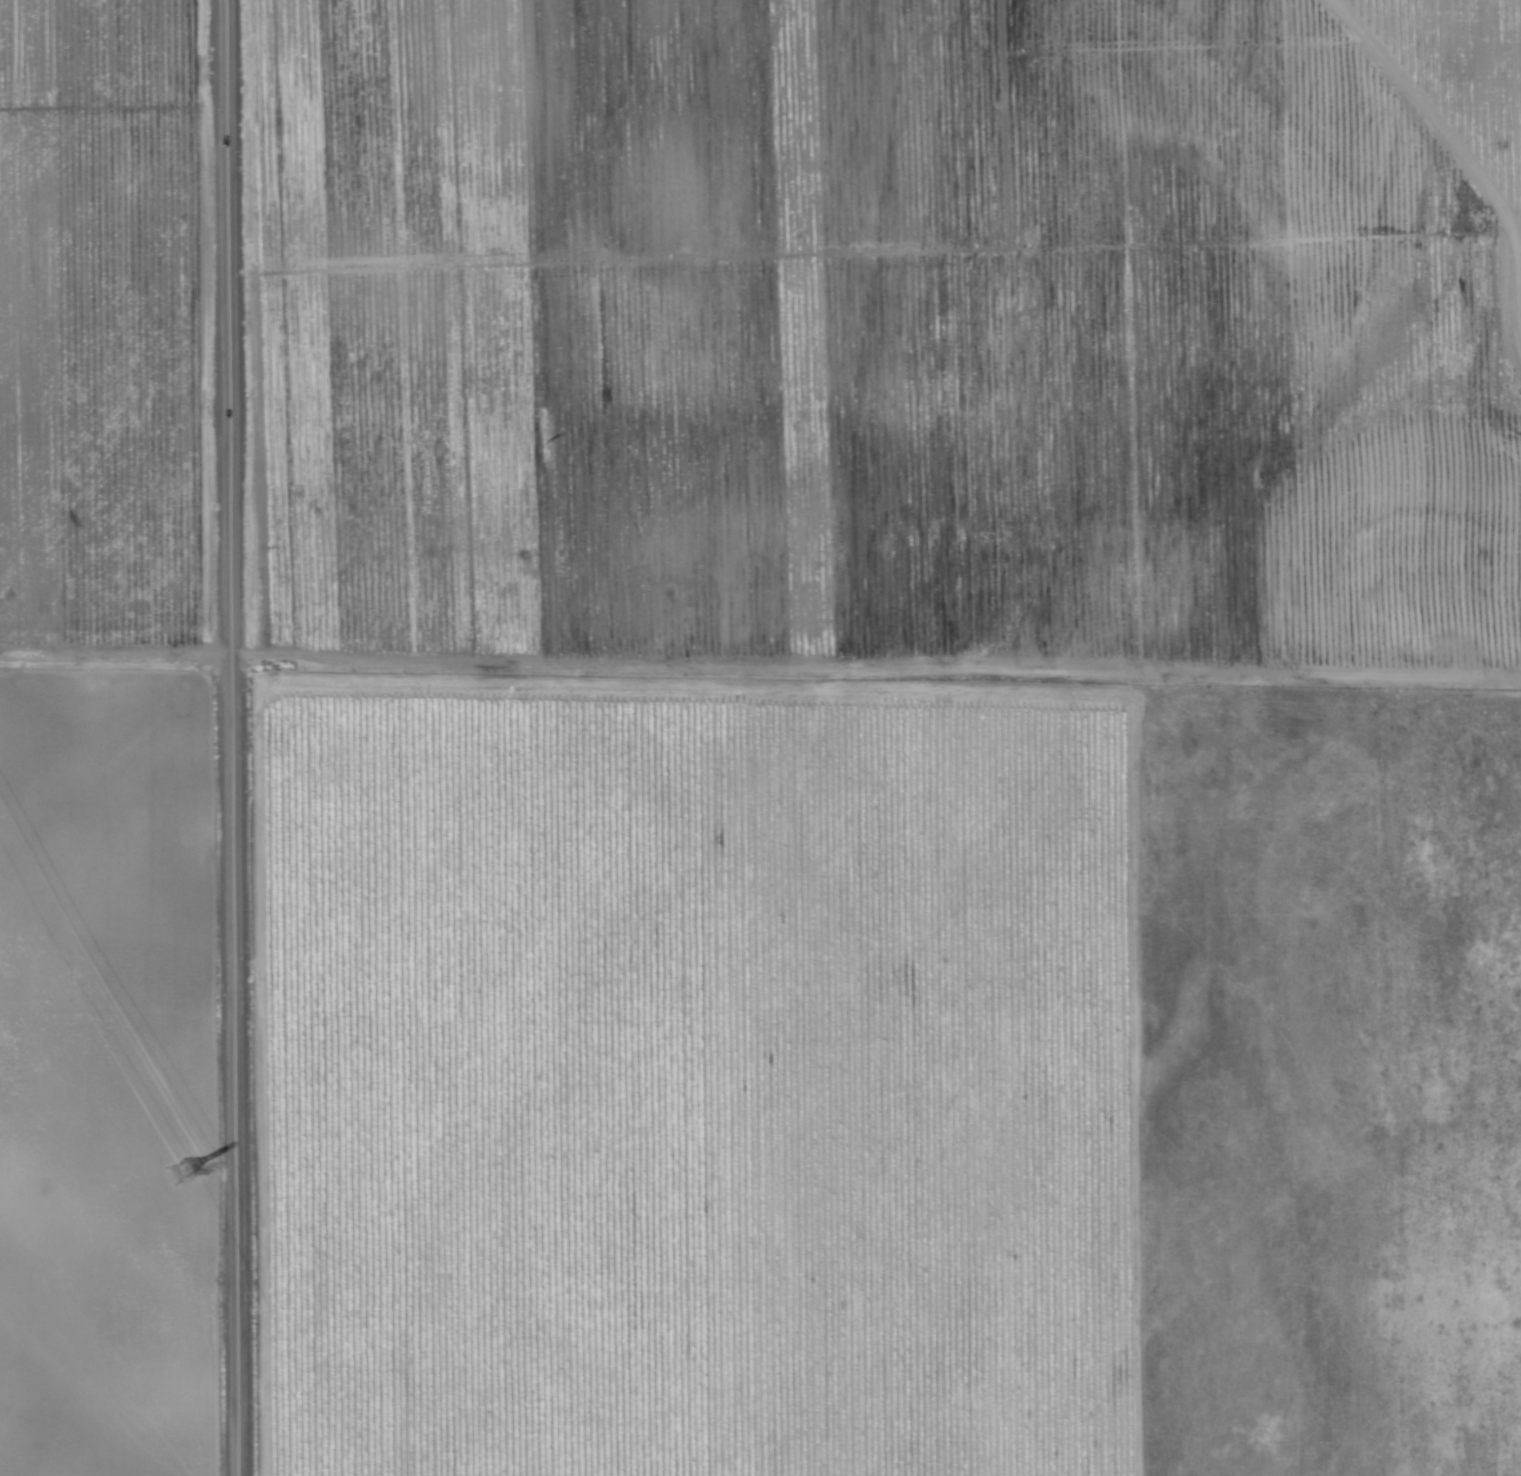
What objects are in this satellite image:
road: (235, 738)
power tower: (190, 1148)

